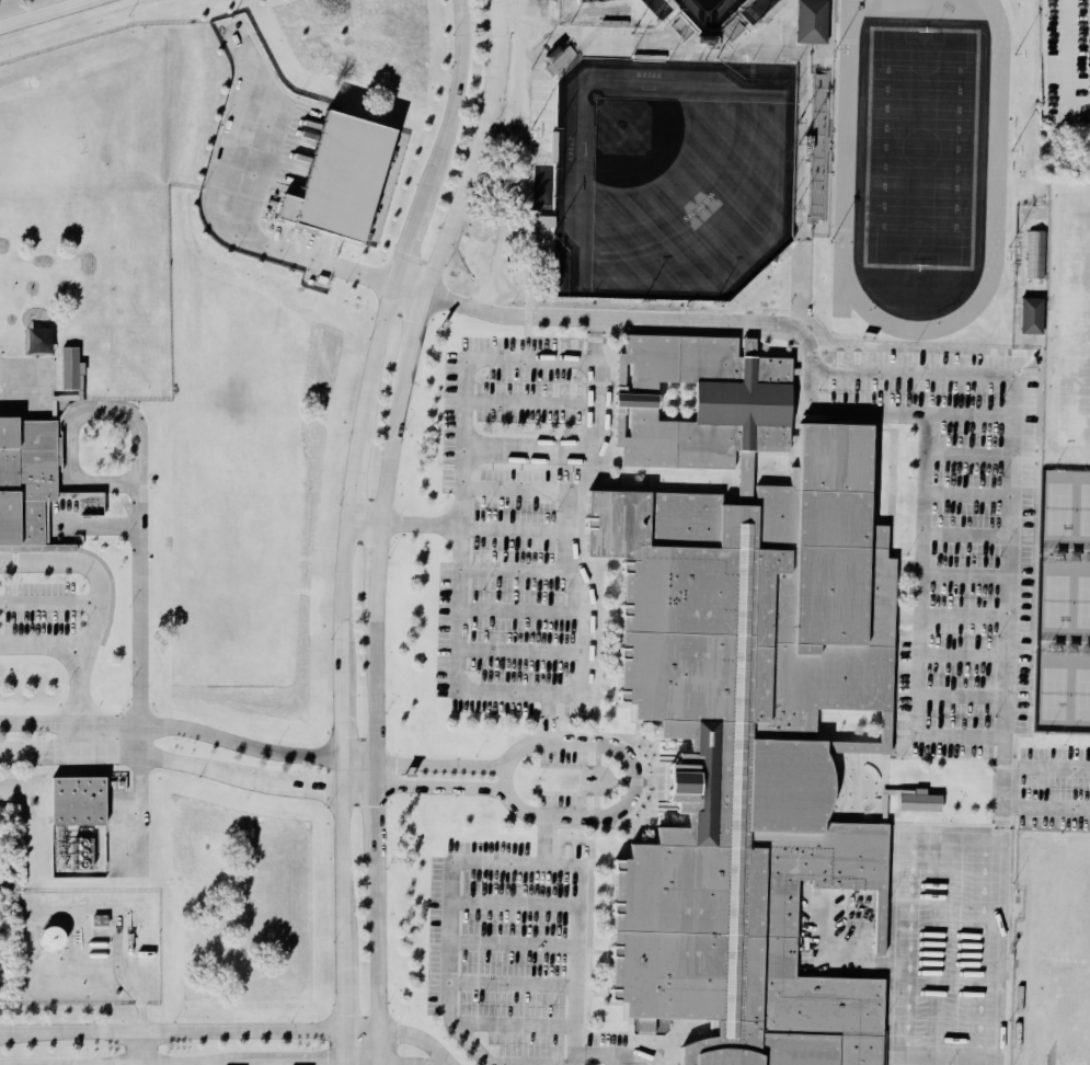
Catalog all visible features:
park: (705, 11)
road: (45, 13)
building: (815, 22)
track: (846, 148)
park: (922, 148)
park: (666, 171)
building: (346, 179)
building: (1037, 257)
road: (467, 305)
building: (1034, 317)
park: (1072, 327)
road: (493, 358)
building: (72, 369)
road: (932, 373)
road: (54, 393)
road: (531, 402)
building: (702, 402)
road: (844, 412)
road: (928, 414)
building: (25, 482)
road: (346, 524)
road: (382, 524)
road: (457, 526)
road: (138, 542)
road: (85, 563)
road: (518, 571)
park: (1060, 597)
road: (49, 602)
road: (523, 610)
road: (45, 643)
road: (523, 651)
road: (458, 660)
road: (82, 698)
road: (549, 718)
building: (885, 725)
road: (190, 732)
road: (653, 736)
road: (542, 743)
building: (751, 747)
parking lot: (571, 754)
road: (443, 765)
road: (1046, 766)
road: (190, 767)
road: (443, 787)
parking lot: (1054, 787)
road: (566, 794)
building: (78, 801)
parking lot: (570, 805)
road: (1046, 806)
road: (824, 820)
building: (82, 852)
road: (999, 901)
road: (515, 903)
road: (578, 923)
road: (449, 927)
building: (53, 938)
road: (514, 941)
road: (899, 946)
road: (513, 983)
park: (1069, 1018)
road: (516, 1023)
road: (190, 1029)
road: (418, 1037)
road: (142, 1047)
road: (619, 1055)
road: (613, 1060)
road: (402, 1064)

